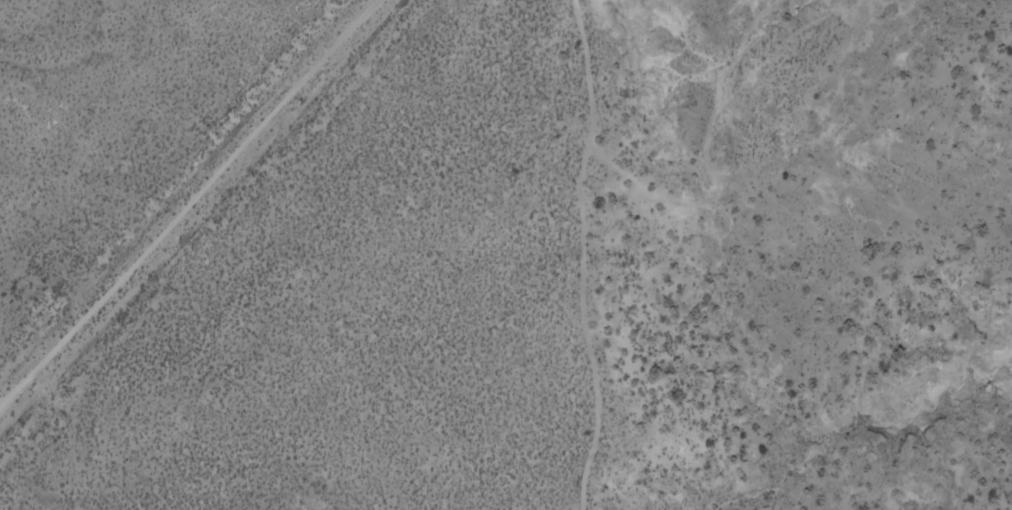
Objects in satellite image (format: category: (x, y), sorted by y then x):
road: (175, 189)

